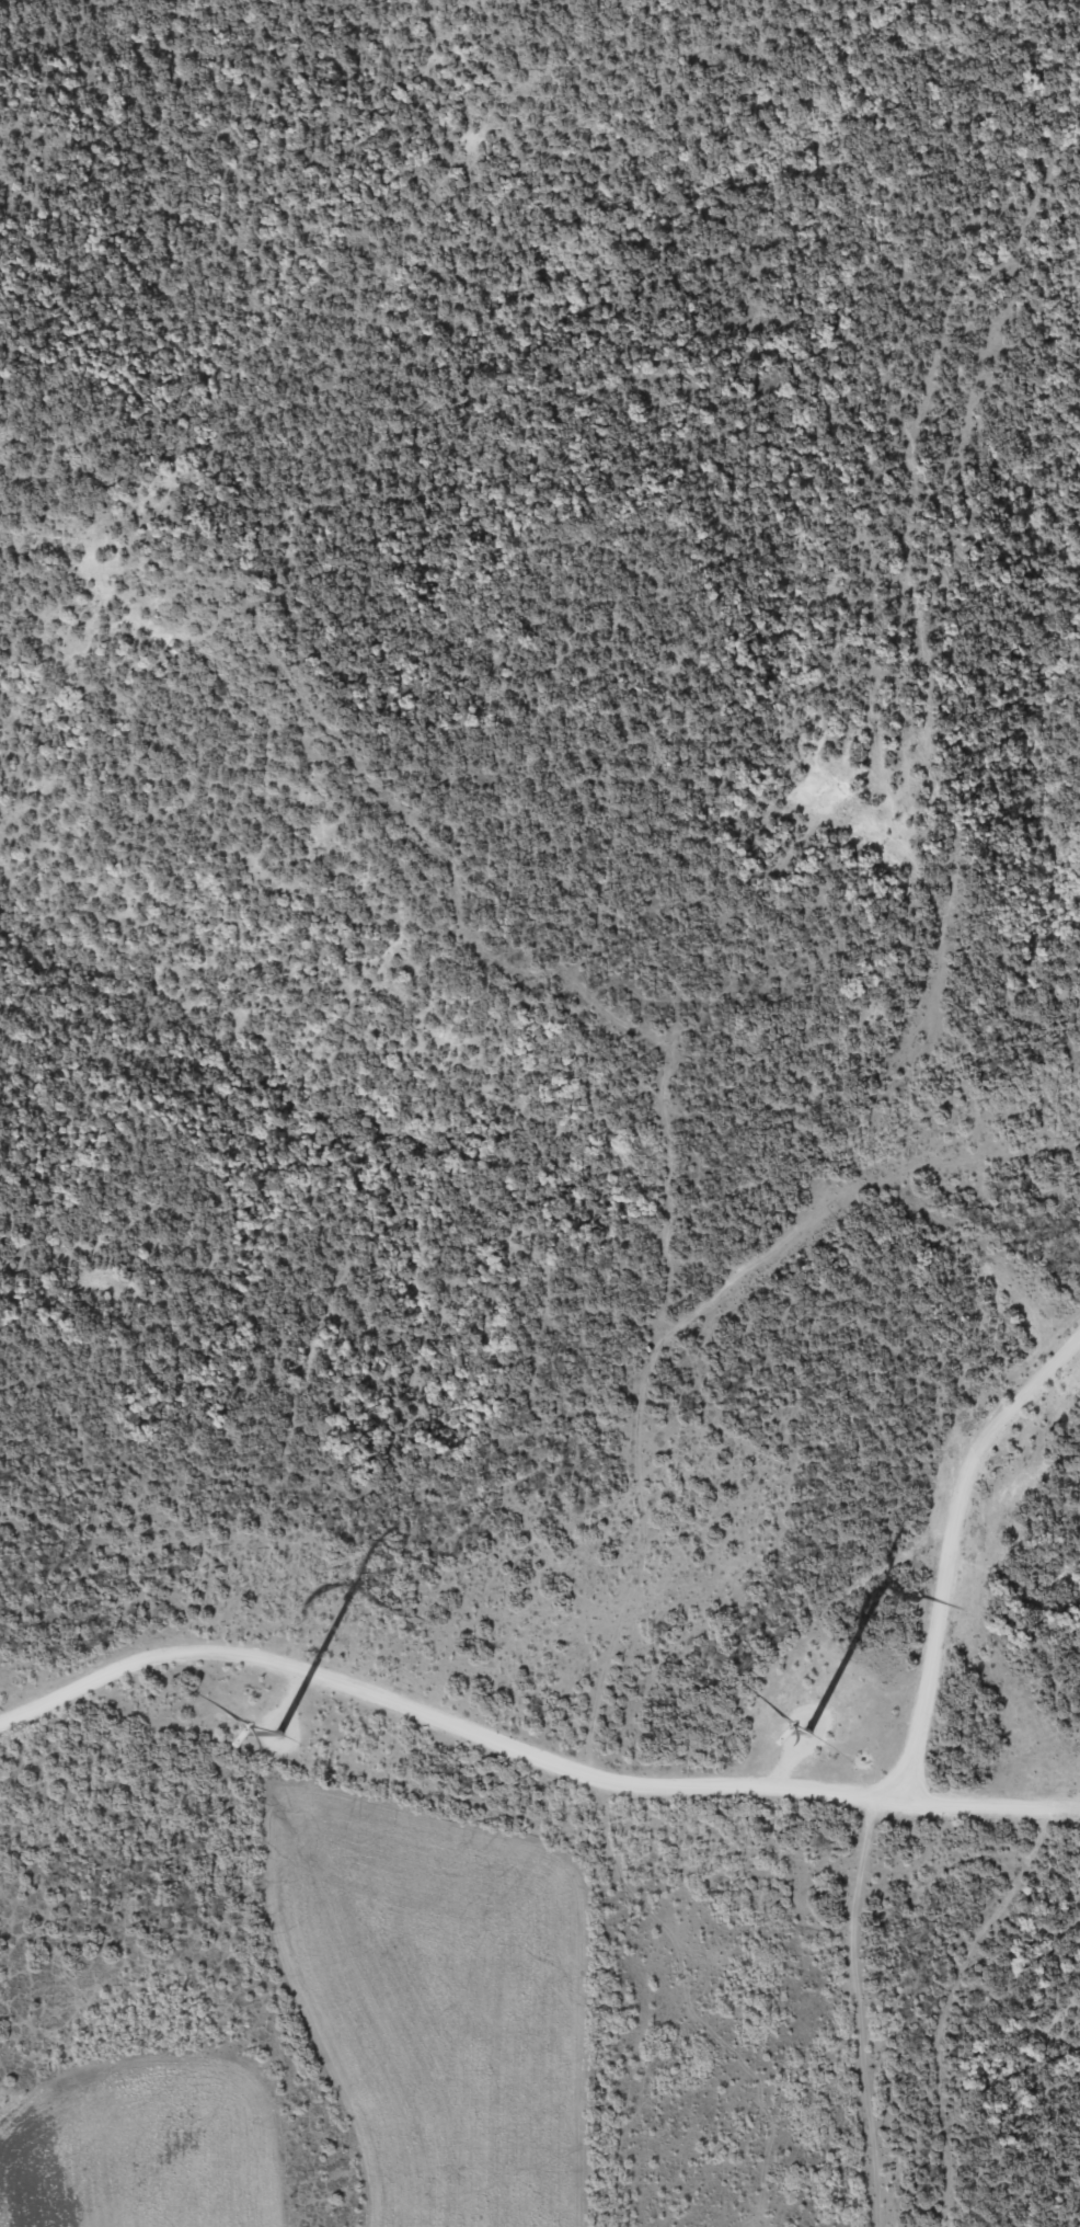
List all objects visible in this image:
road: (947, 1551)
wind turbine: (274, 1732)
wind turbine: (798, 1732)
road: (524, 1747)

